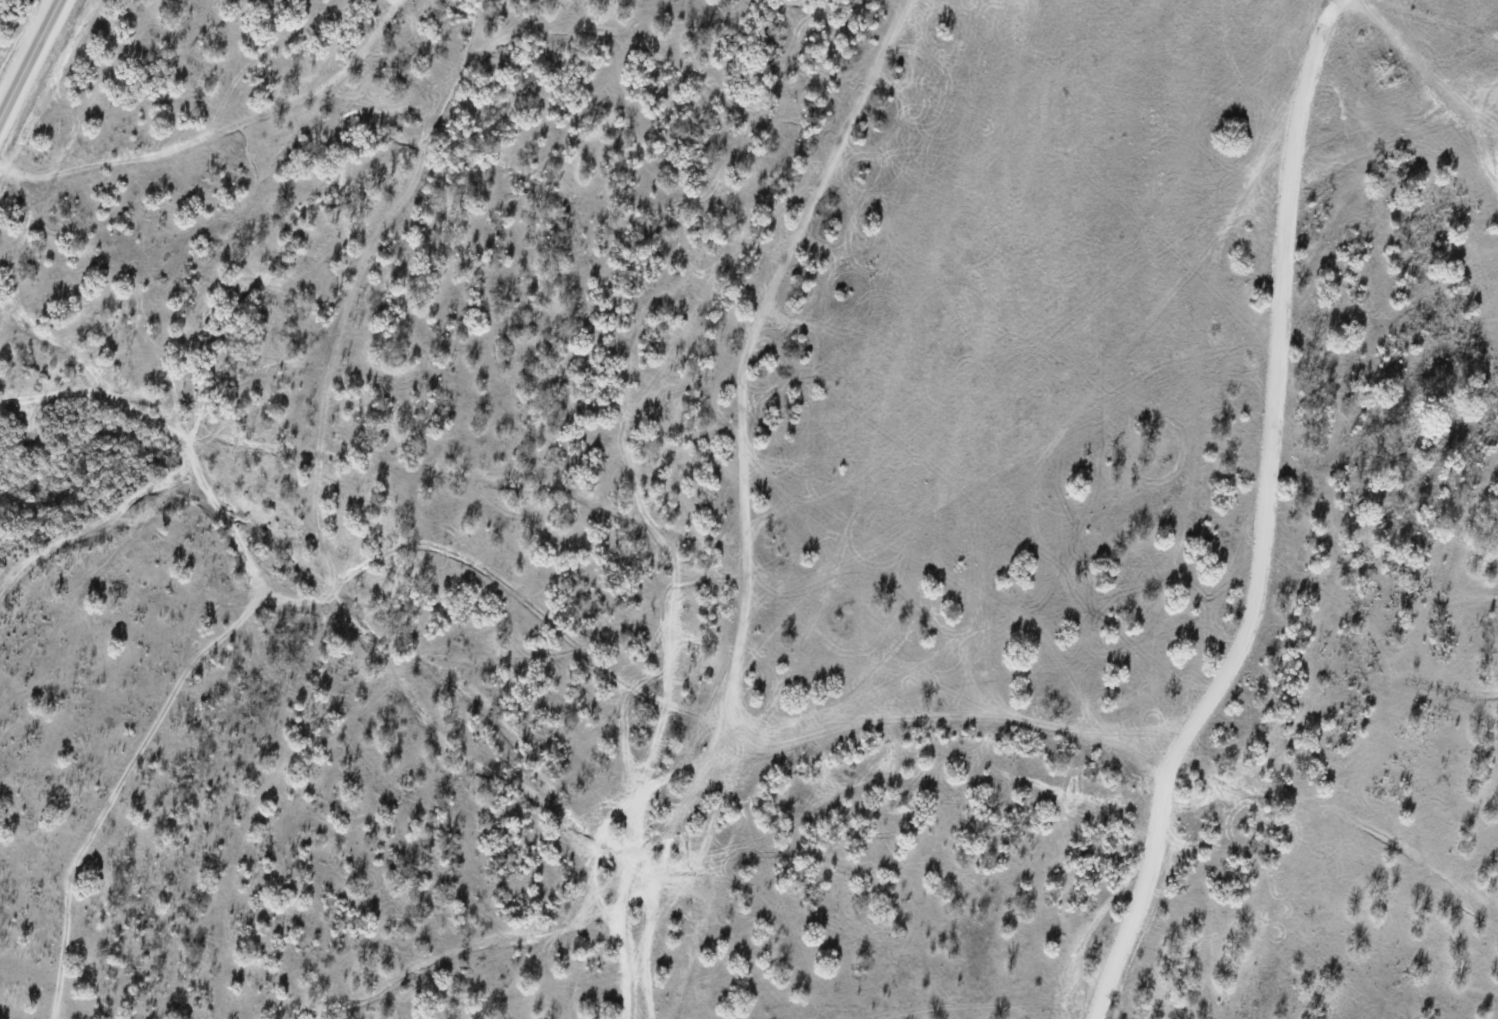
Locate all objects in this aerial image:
road: (32, 67)
road: (1266, 522)

